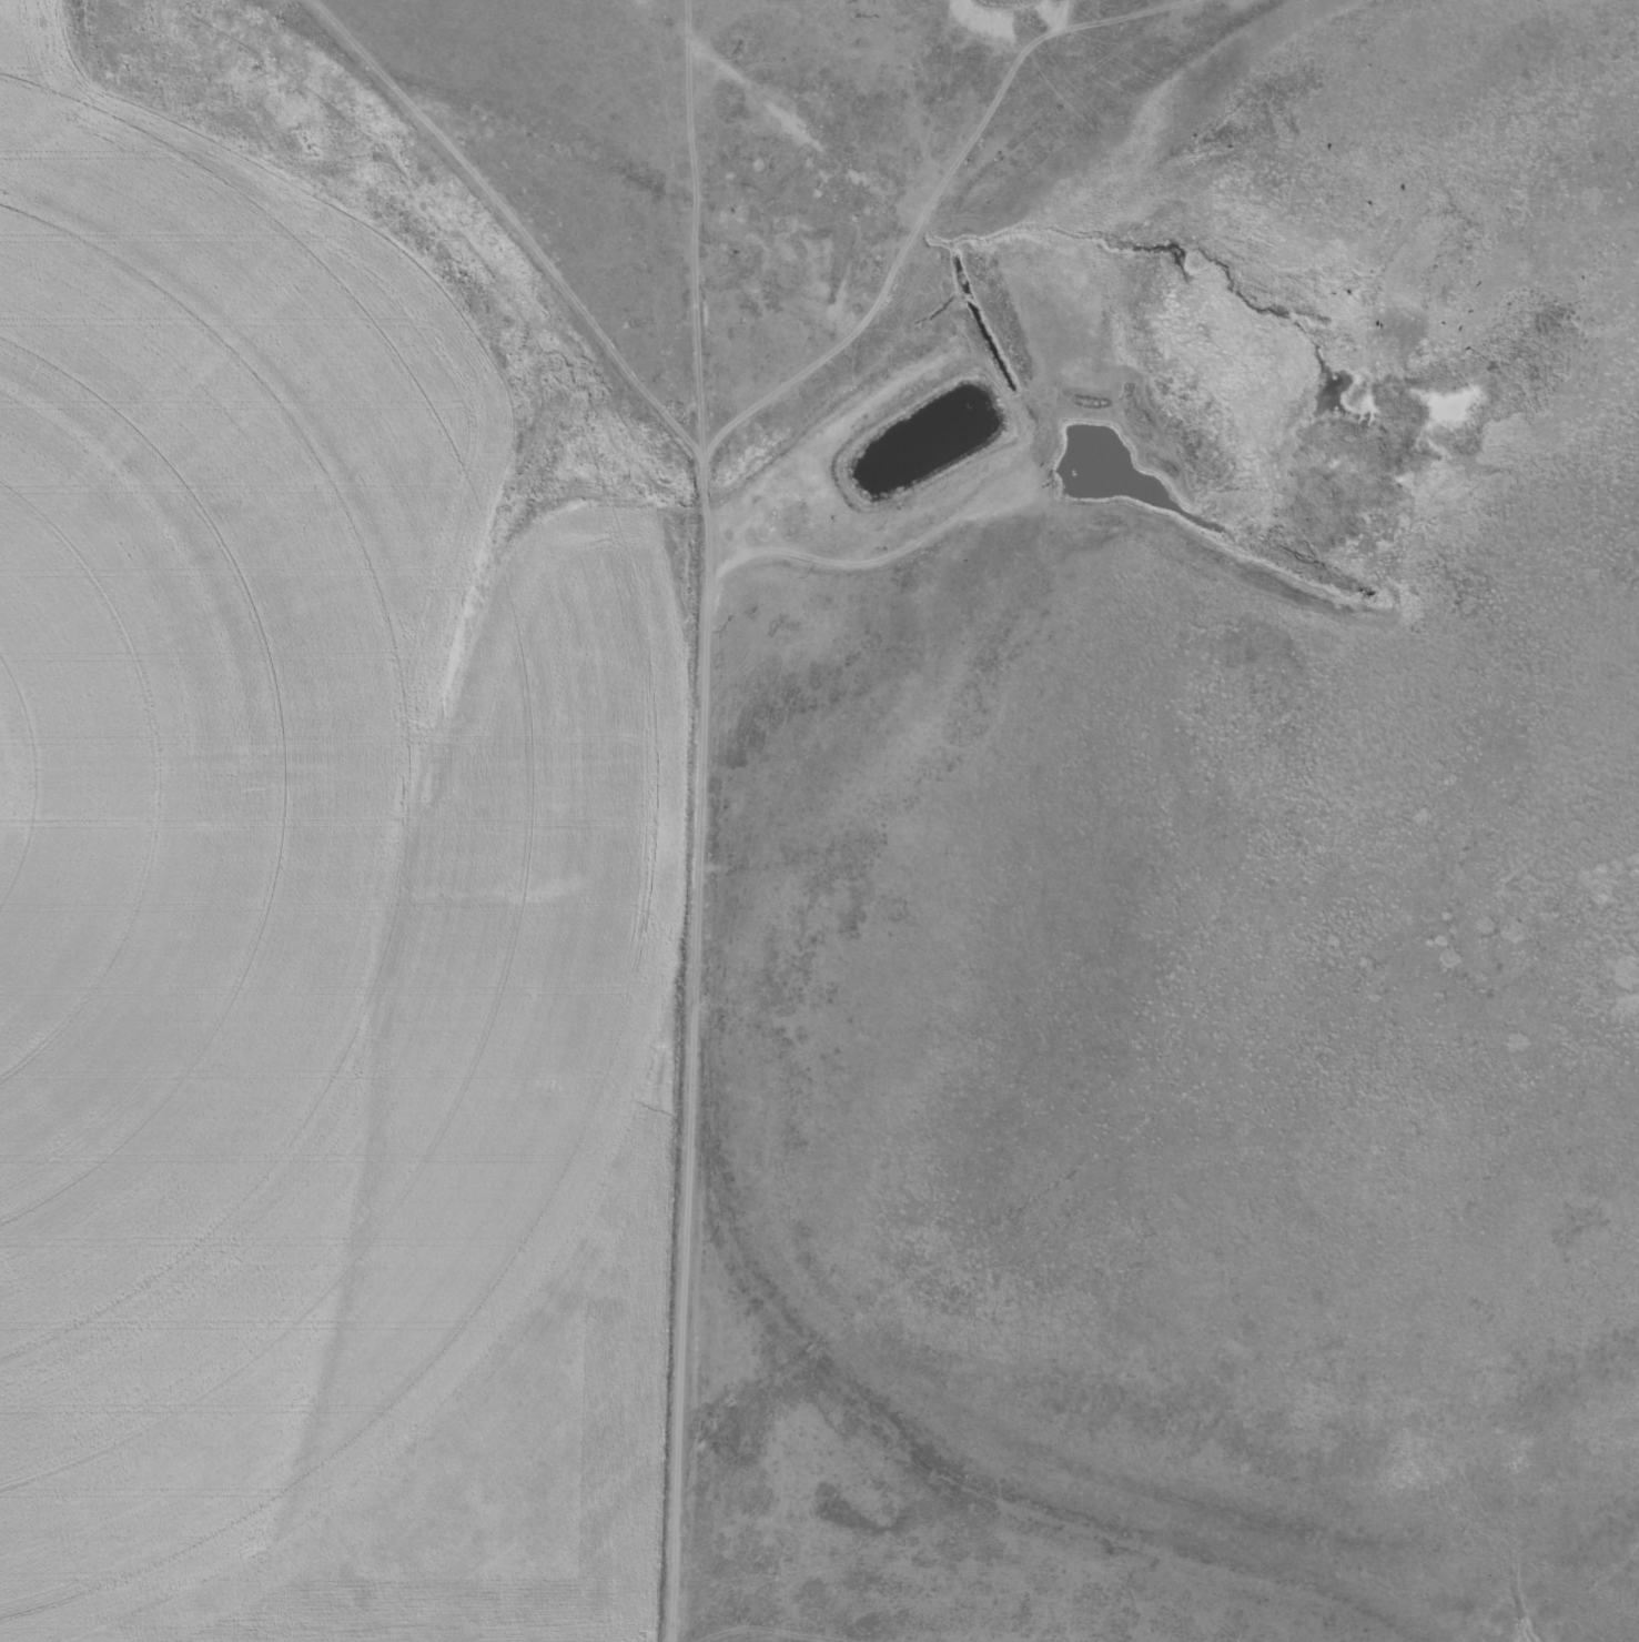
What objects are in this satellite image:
road: (695, 938)

